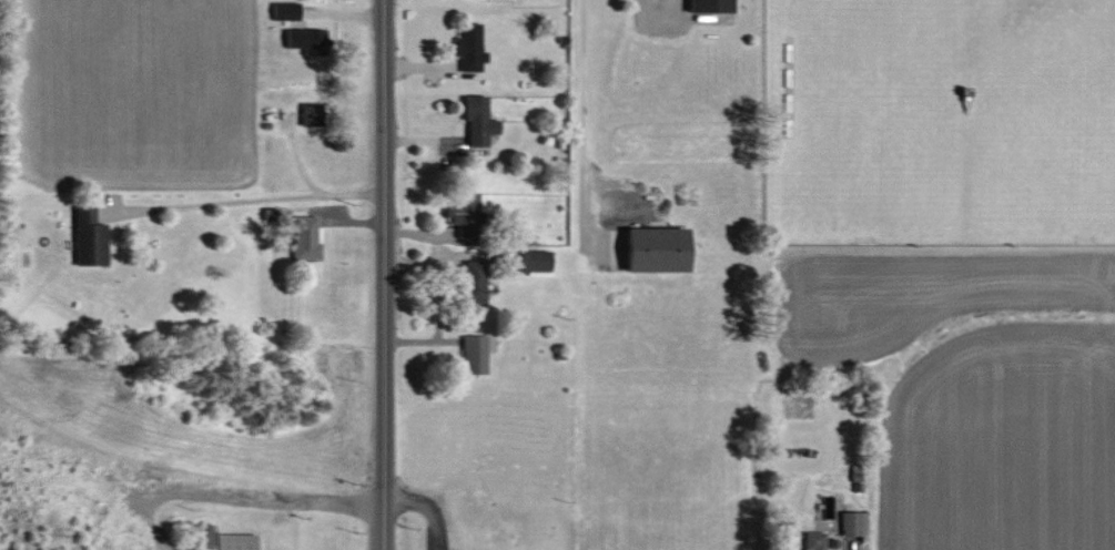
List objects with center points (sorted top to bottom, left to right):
building: (713, 6)
building: (286, 11)
building: (308, 40)
building: (472, 47)
building: (313, 113)
building: (480, 120)
road: (585, 122)
road: (246, 198)
building: (466, 218)
building: (91, 237)
building: (307, 238)
building: (661, 248)
building: (537, 261)
road: (386, 275)
building: (476, 282)
building: (475, 354)
building: (856, 472)
road: (429, 506)
road: (234, 513)
building: (854, 524)
building: (224, 540)
building: (815, 540)

